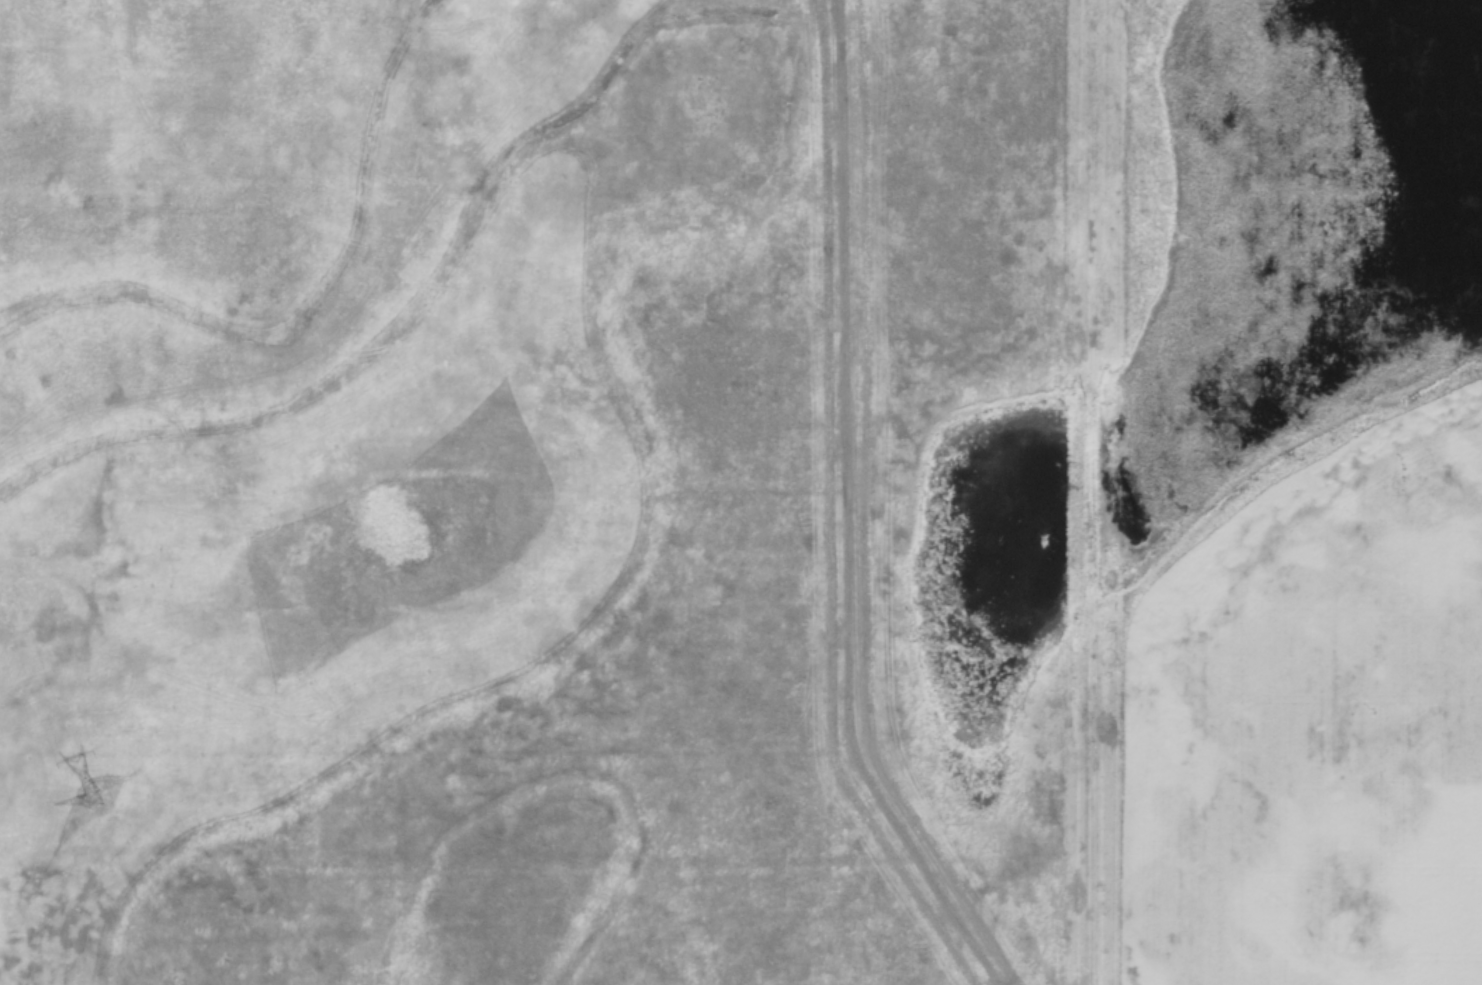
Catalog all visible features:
power tower: (95, 799)

